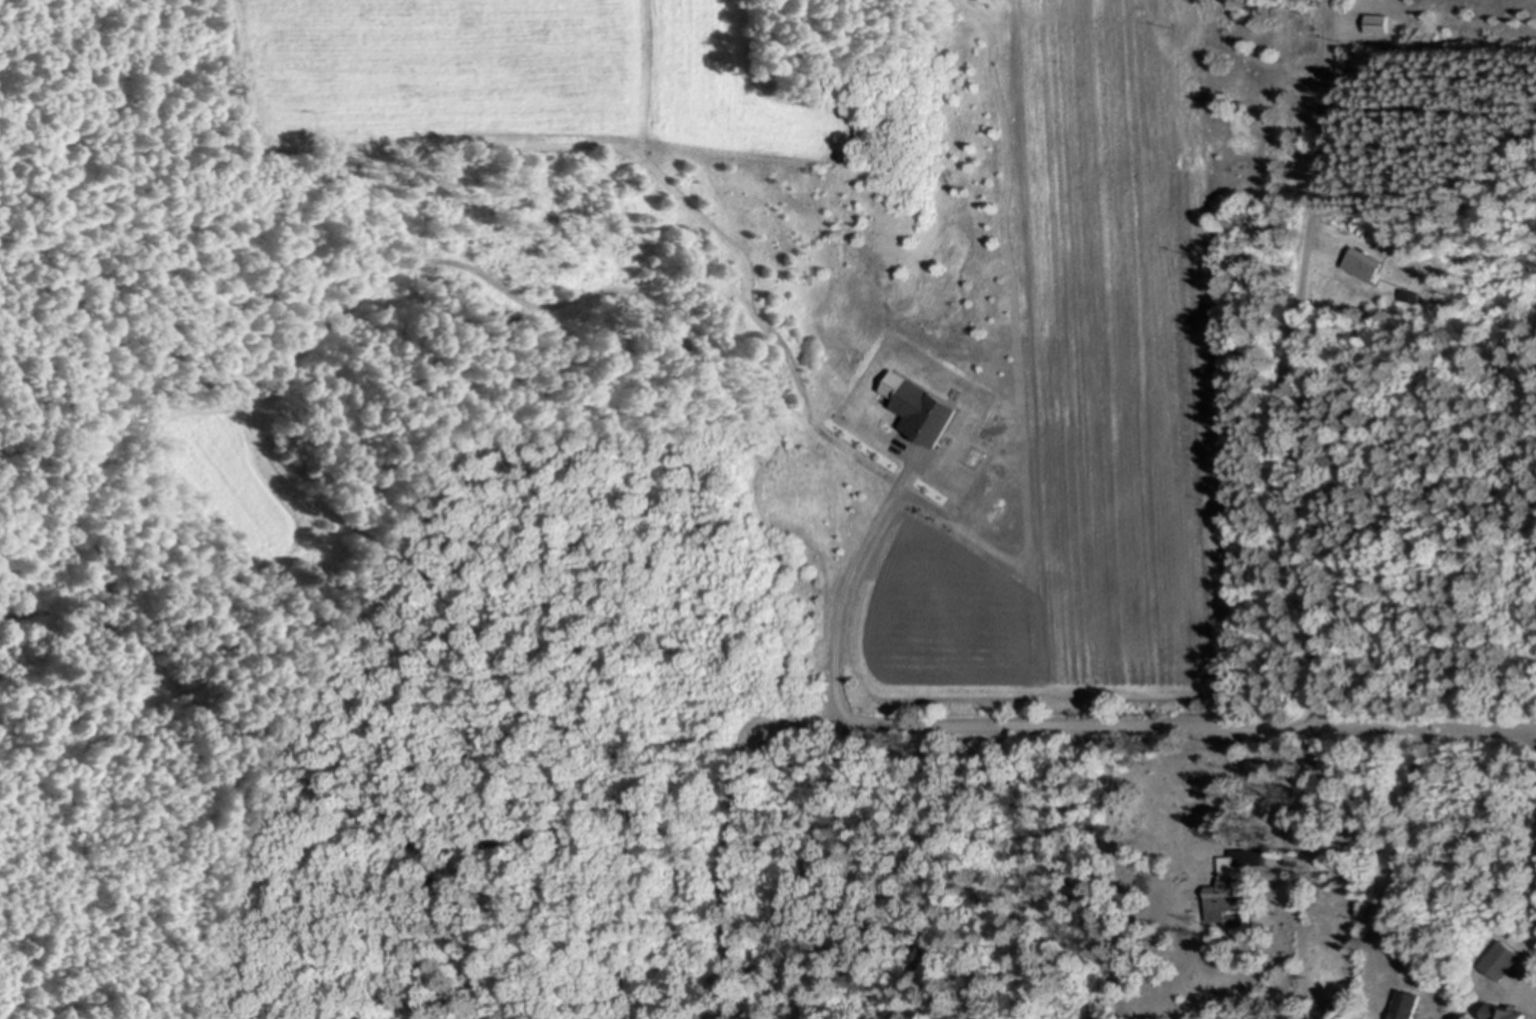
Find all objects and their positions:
building: (1379, 24)
crop: (469, 69)
building: (1365, 264)
road: (1285, 365)
building: (923, 410)
road: (846, 584)
road: (1147, 726)
road: (1534, 736)
road: (1269, 798)
road: (722, 867)
building: (1238, 881)
building: (1414, 1004)
building: (1508, 1012)

